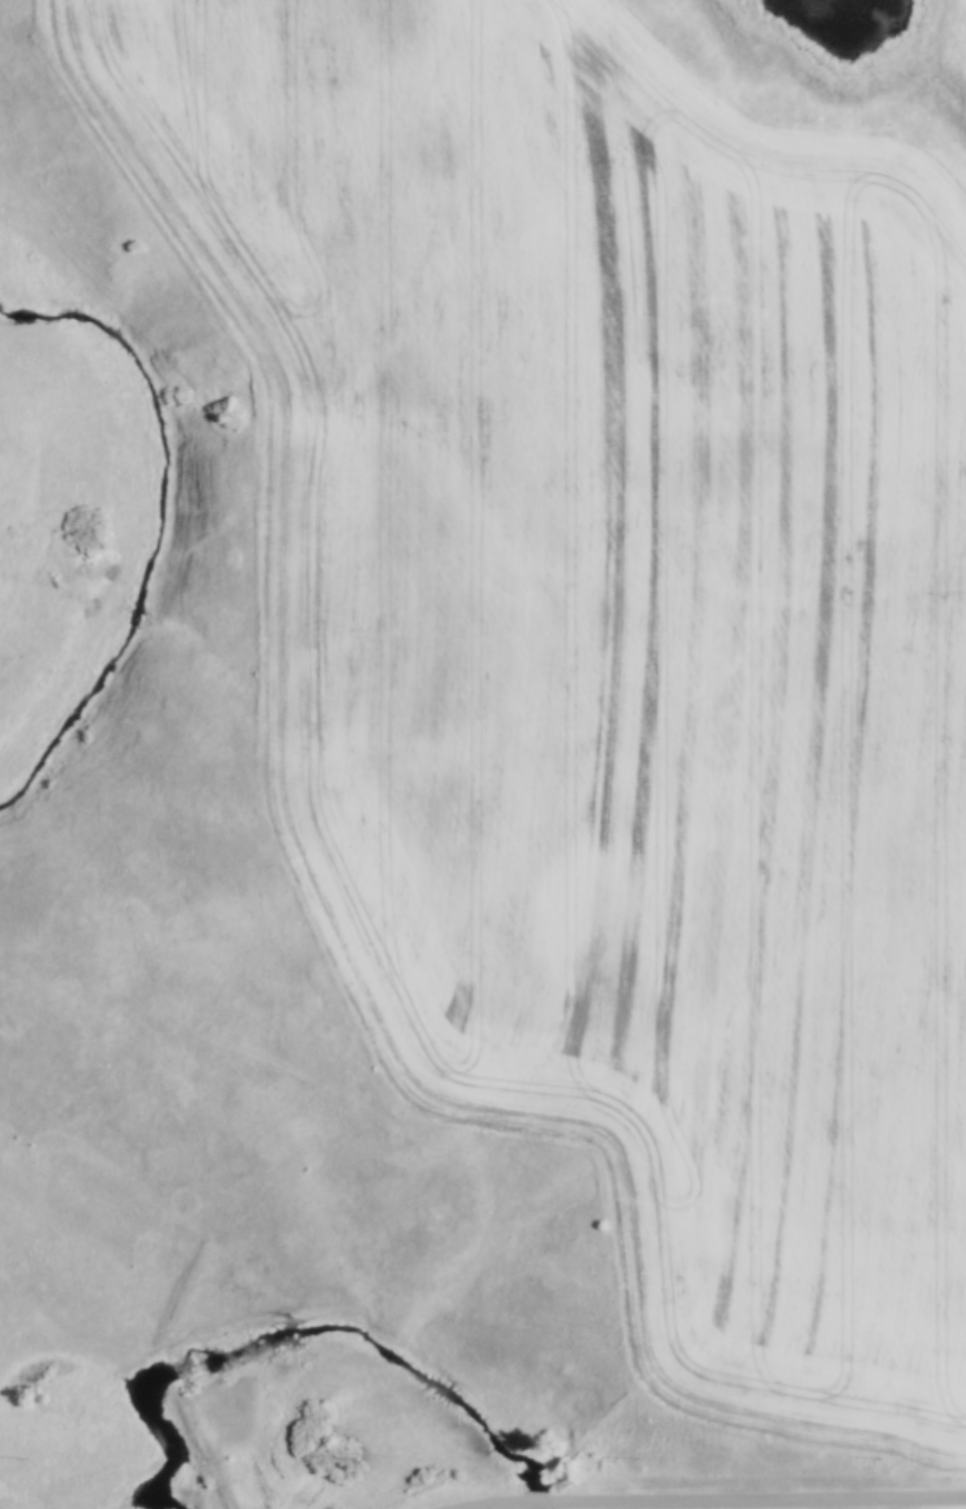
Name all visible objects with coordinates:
road: (537, 1501)
road: (758, 1501)
road: (490, 1503)

